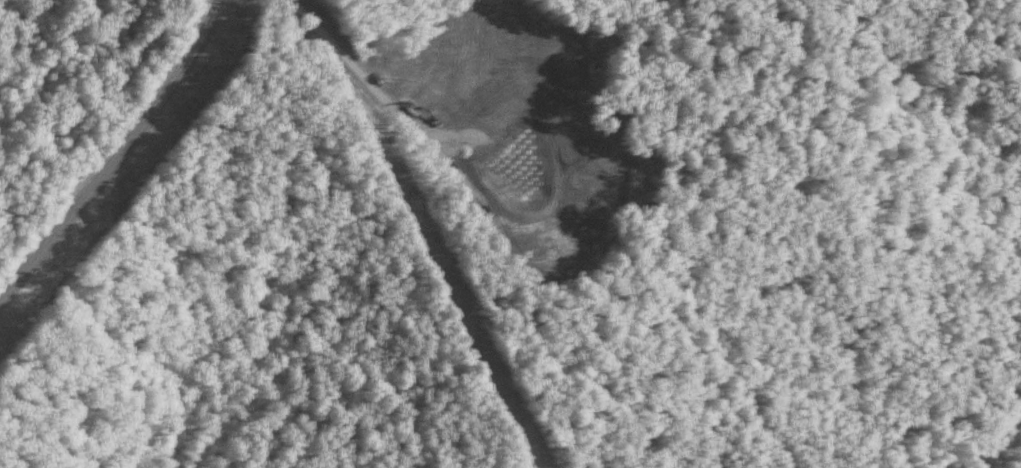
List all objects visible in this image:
road: (119, 157)

